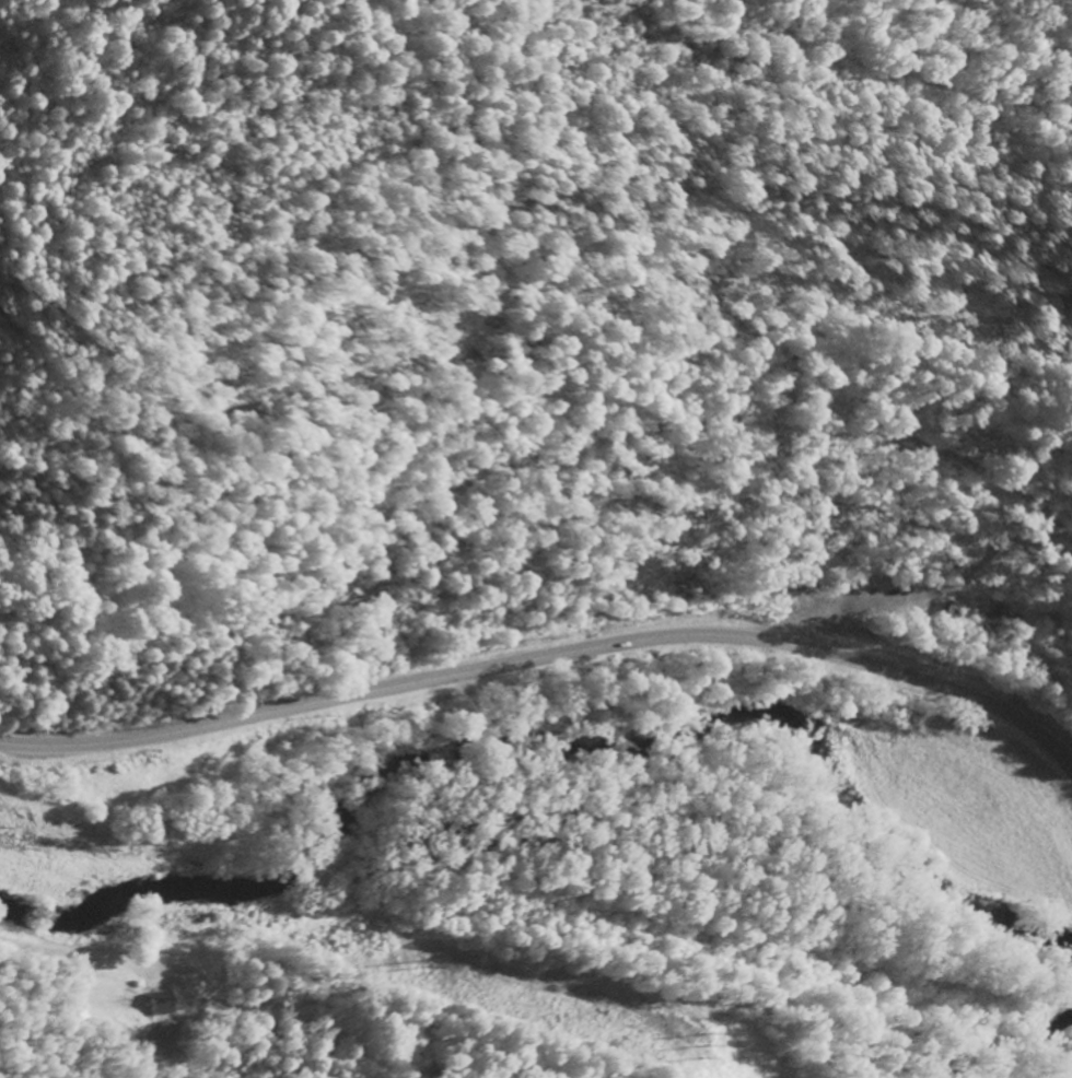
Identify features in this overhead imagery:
road: (548, 653)
road: (75, 951)
building: (162, 1001)

